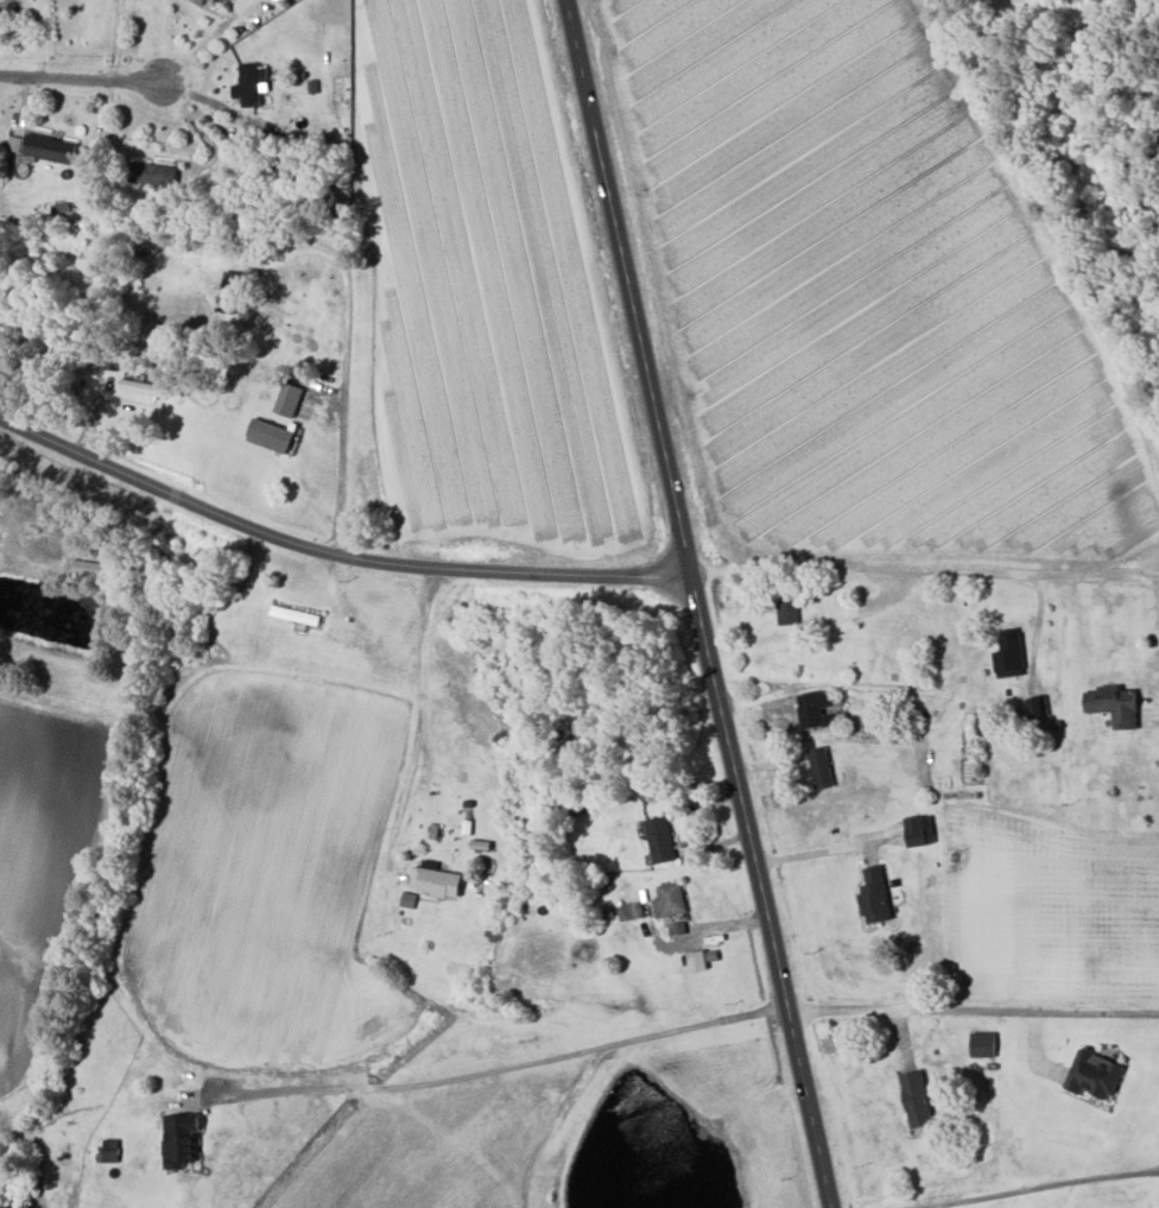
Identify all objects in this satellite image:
road: (118, 39)
road: (82, 77)
building: (251, 83)
building: (14, 143)
building: (49, 146)
building: (153, 172)
road: (344, 363)
building: (290, 399)
building: (272, 435)
road: (674, 505)
road: (331, 551)
building: (91, 568)
road: (924, 570)
road: (1157, 596)
building: (788, 611)
building: (1009, 656)
road: (785, 689)
road: (420, 704)
building: (1115, 704)
building: (817, 709)
building: (822, 766)
building: (917, 830)
building: (659, 837)
road: (812, 853)
building: (437, 881)
building: (874, 896)
building: (667, 899)
road: (974, 1008)
building: (984, 1044)
road: (489, 1073)
building: (1095, 1074)
building: (918, 1099)
road: (810, 1108)
road: (552, 1121)
building: (182, 1139)
road: (1020, 1181)

